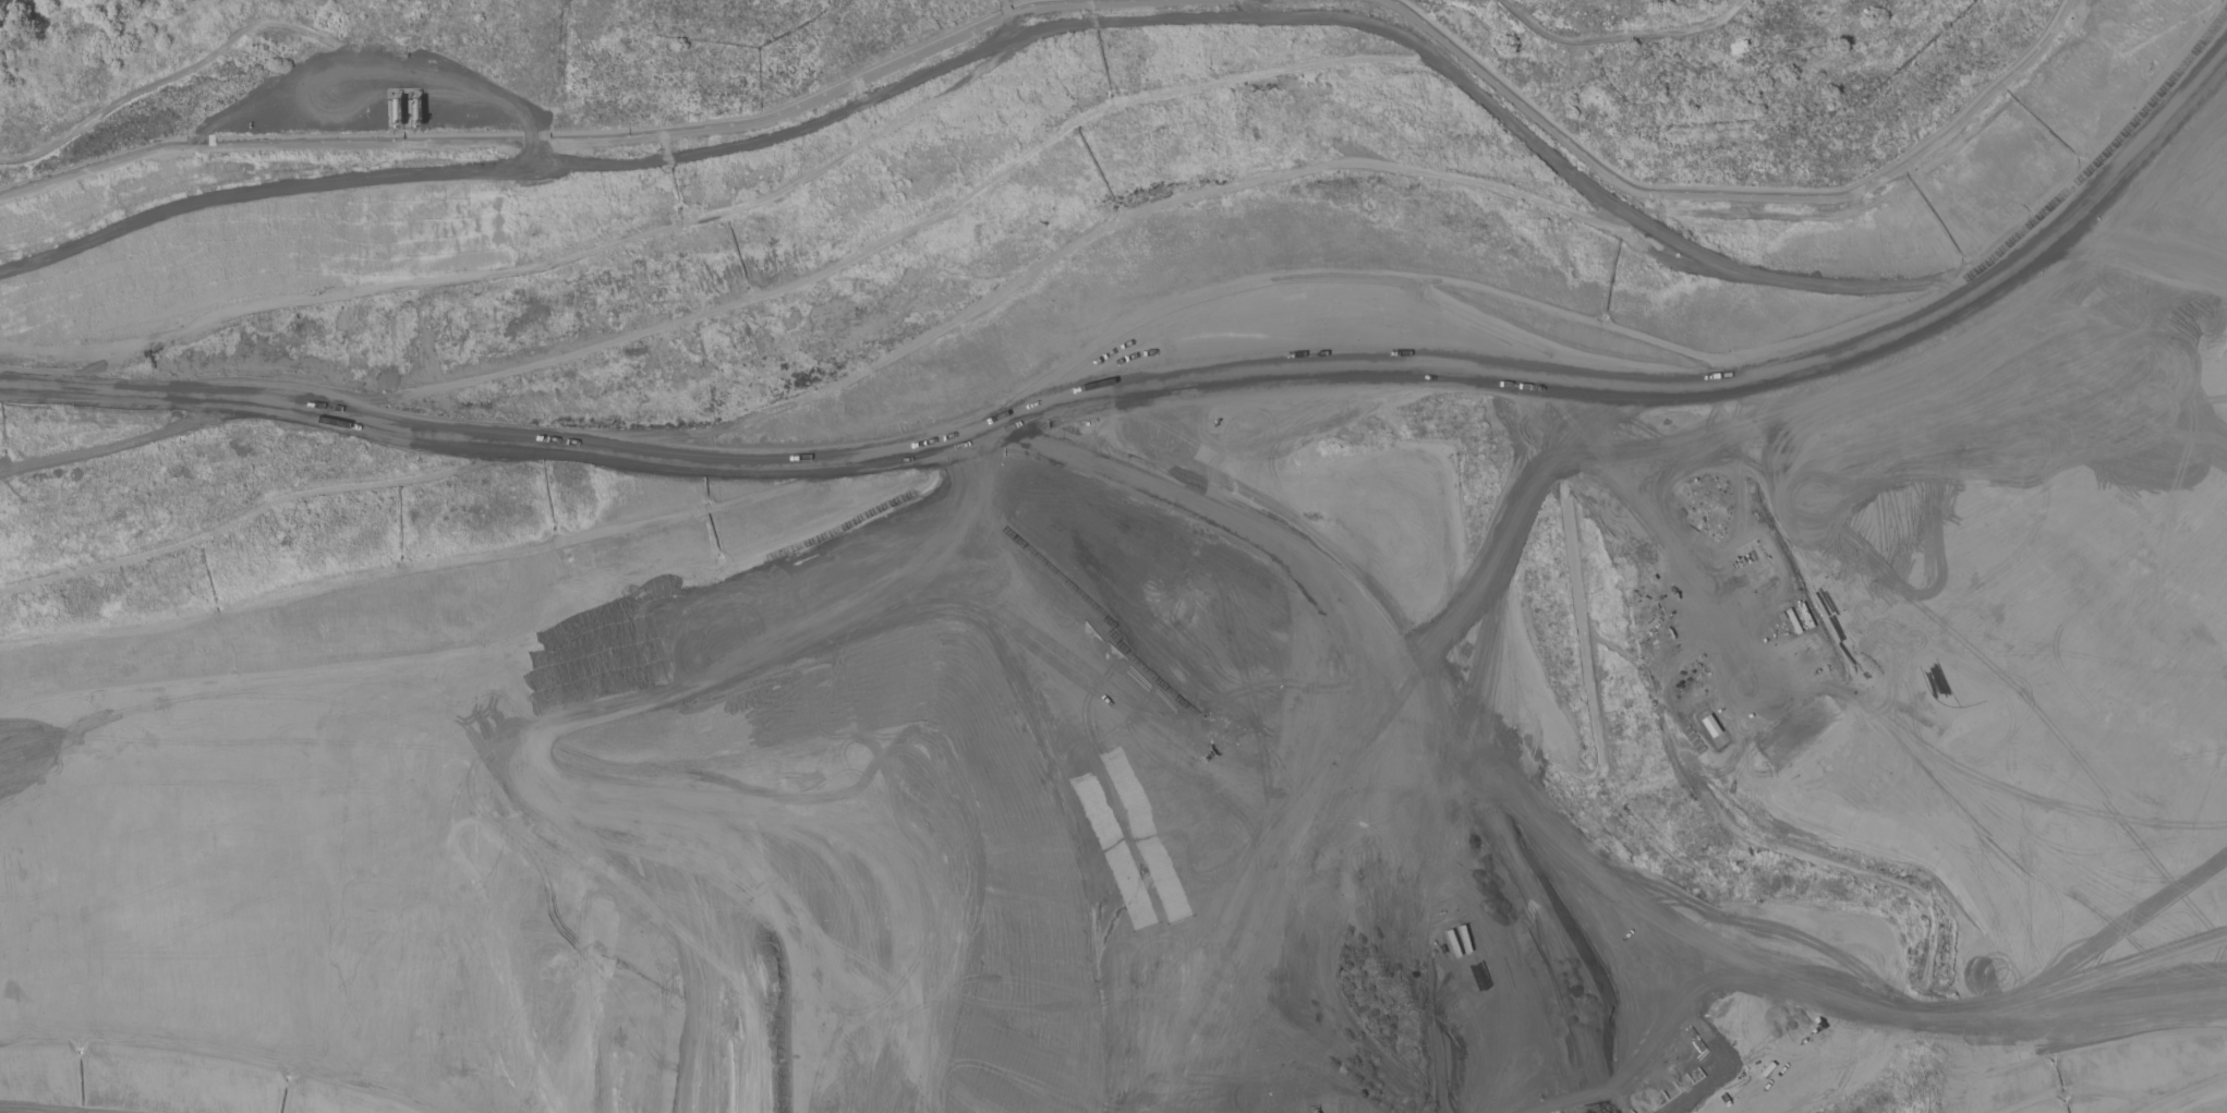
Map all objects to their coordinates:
road: (1624, 33)
road: (552, 71)
road: (620, 140)
road: (2114, 146)
road: (1732, 196)
road: (2081, 251)
road: (1890, 291)
road: (1869, 489)
road: (785, 498)
landfill: (1112, 591)
landfill: (1112, 591)
road: (1451, 713)
road: (2073, 989)
road: (2141, 1005)
road: (2215, 1105)

